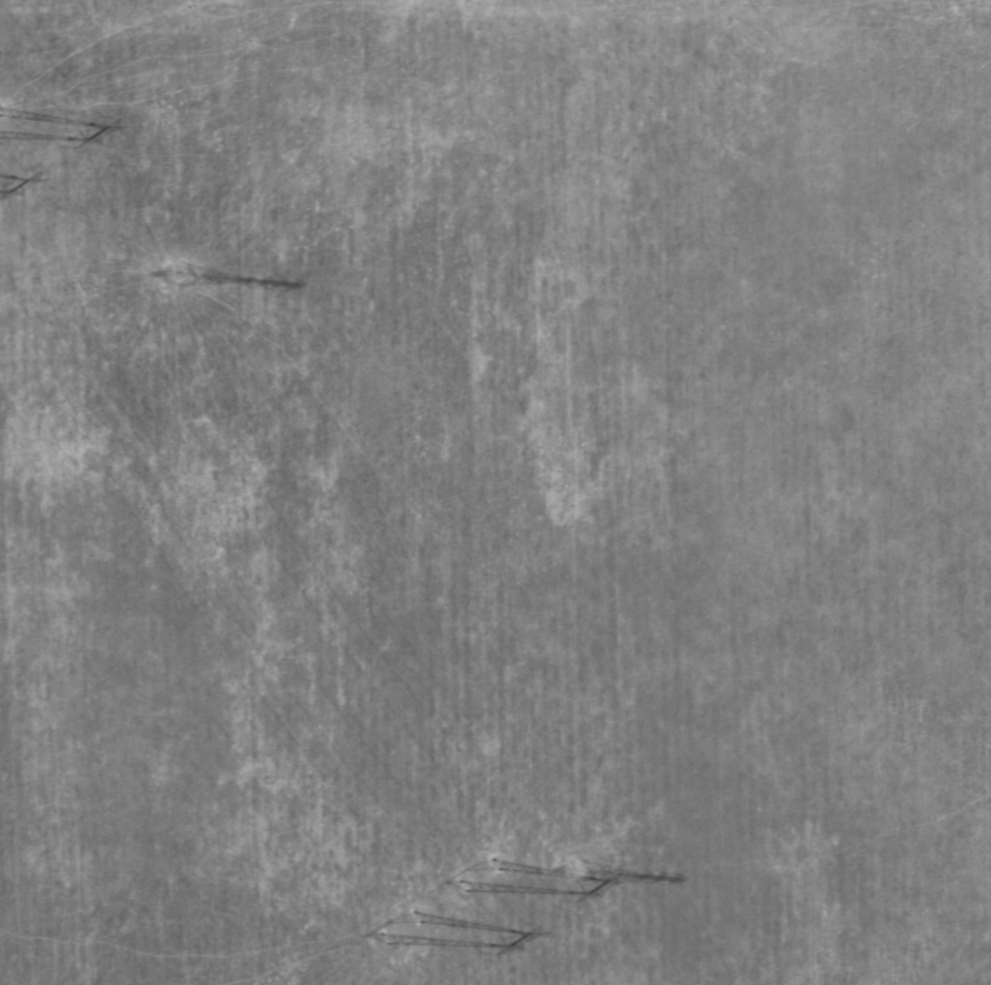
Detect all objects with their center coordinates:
power tower: (162, 253)
power tower: (576, 868)
power tower: (487, 873)
power tower: (419, 938)

